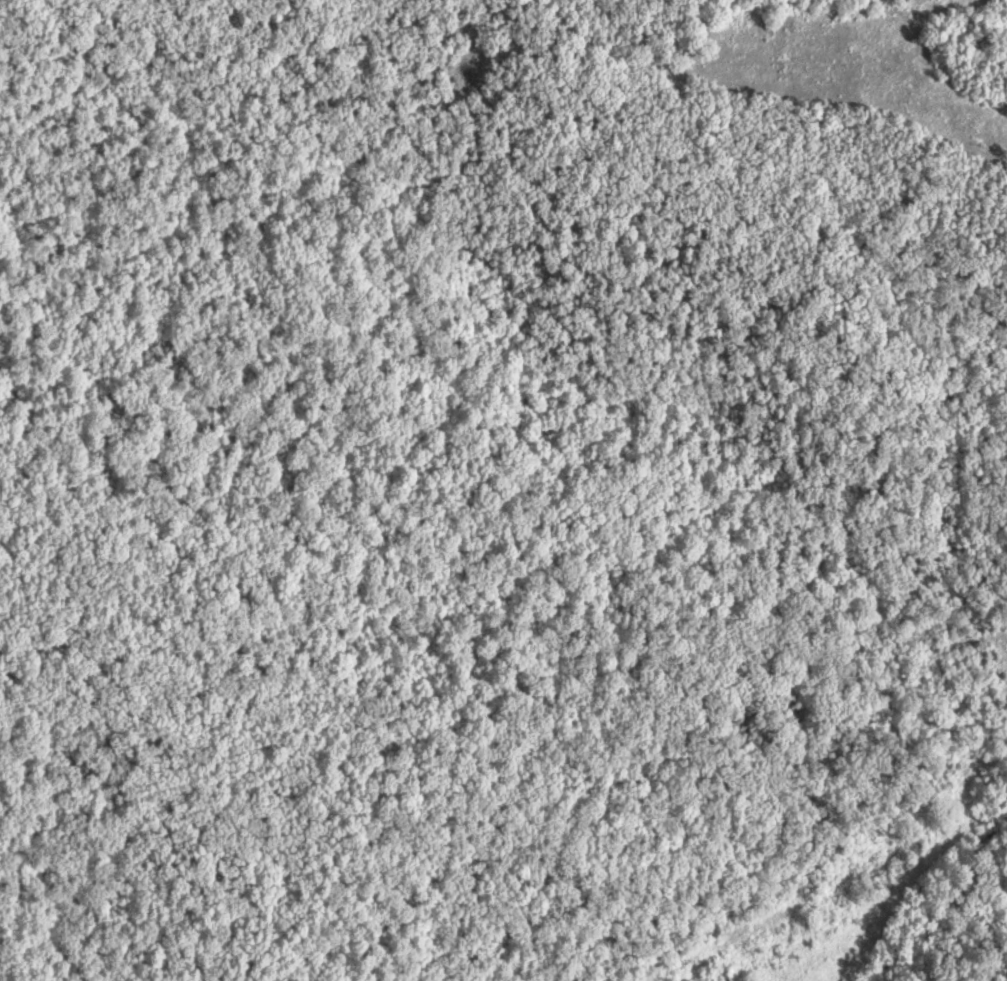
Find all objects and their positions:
road: (950, 53)
road: (785, 97)

